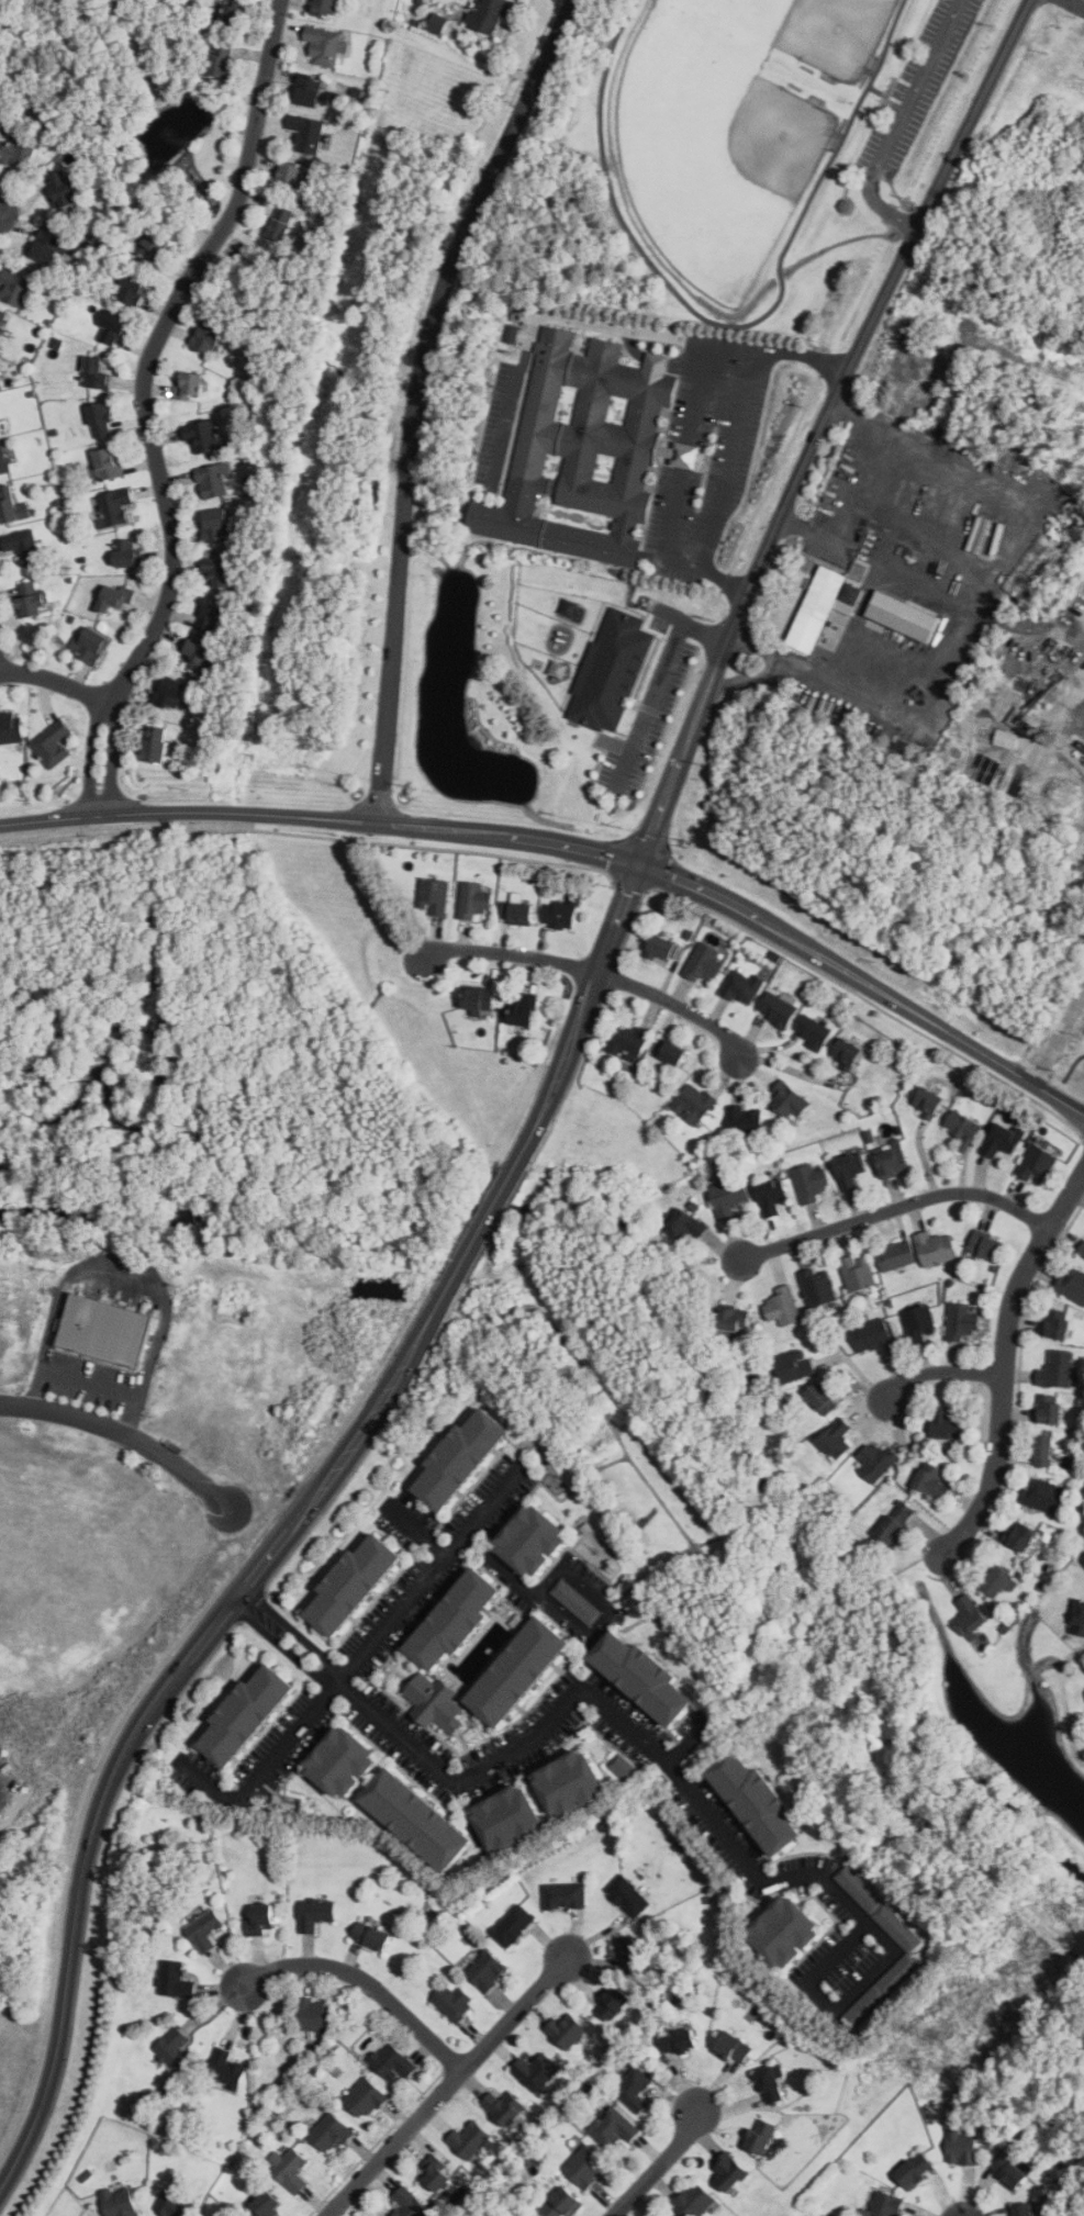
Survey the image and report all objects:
road: (1077, 3)
building: (325, 8)
building: (235, 12)
building: (490, 15)
building: (433, 23)
park: (797, 34)
building: (326, 45)
building: (221, 59)
road: (916, 88)
parking lot: (918, 89)
building: (309, 90)
road: (876, 90)
road: (891, 92)
road: (886, 94)
building: (306, 131)
road: (518, 146)
park: (718, 148)
building: (19, 154)
park: (734, 159)
building: (290, 176)
building: (64, 189)
road: (883, 211)
building: (281, 223)
building: (47, 245)
building: (154, 248)
building: (15, 287)
building: (132, 288)
road: (447, 289)
road: (536, 315)
building: (3, 320)
road: (729, 325)
building: (113, 327)
building: (513, 333)
building: (208, 336)
road: (156, 345)
road: (729, 345)
building: (0, 357)
building: (97, 373)
building: (190, 385)
road: (416, 395)
building: (101, 419)
building: (1, 426)
building: (203, 436)
building: (586, 450)
road: (685, 455)
road: (729, 459)
building: (3, 461)
road: (860, 462)
building: (110, 463)
road: (800, 479)
building: (214, 481)
building: (9, 505)
building: (113, 507)
building: (216, 525)
building: (22, 546)
building: (128, 552)
road: (670, 552)
building: (220, 572)
building: (856, 593)
building: (32, 600)
building: (114, 600)
building: (818, 608)
building: (210, 615)
building: (906, 615)
road: (860, 616)
building: (92, 646)
building: (194, 652)
building: (613, 671)
road: (55, 681)
road: (655, 684)
building: (170, 693)
building: (991, 696)
building: (11, 727)
building: (1008, 739)
building: (54, 745)
building: (155, 745)
road: (91, 756)
road: (113, 756)
road: (136, 814)
traffic signals: (639, 866)
road: (704, 892)
building: (434, 895)
building: (473, 899)
building: (517, 911)
building: (562, 913)
building: (662, 947)
road: (510, 955)
building: (704, 963)
building: (742, 986)
building: (479, 998)
road: (677, 1006)
building: (525, 1008)
building: (778, 1008)
building: (813, 1031)
road: (1058, 1039)
building: (629, 1040)
building: (674, 1052)
building: (848, 1052)
road: (560, 1072)
building: (791, 1099)
building: (695, 1103)
building: (931, 1103)
building: (744, 1120)
building: (963, 1129)
building: (1002, 1140)
building: (893, 1159)
building: (1037, 1164)
building: (850, 1169)
building: (811, 1182)
building: (729, 1195)
building: (772, 1195)
road: (899, 1210)
road: (482, 1224)
building: (686, 1224)
building: (985, 1244)
building: (936, 1247)
building: (1082, 1249)
building: (896, 1255)
building: (857, 1272)
building: (1072, 1285)
building: (819, 1286)
building: (783, 1306)
building: (735, 1319)
building: (962, 1320)
building: (919, 1323)
building: (1057, 1323)
building: (107, 1328)
building: (873, 1336)
road: (1008, 1363)
building: (795, 1365)
building: (1058, 1369)
road: (941, 1376)
road: (85, 1384)
building: (823, 1398)
building: (1049, 1409)
building: (946, 1423)
road: (126, 1434)
building: (837, 1437)
building: (1043, 1450)
building: (462, 1457)
building: (878, 1460)
building: (932, 1480)
building: (1042, 1495)
building: (896, 1523)
road: (420, 1532)
building: (1022, 1535)
building: (533, 1540)
road: (501, 1568)
building: (354, 1582)
building: (998, 1582)
building: (578, 1601)
road: (610, 1608)
building: (971, 1615)
building: (456, 1619)
building: (1080, 1619)
road: (358, 1663)
building: (519, 1670)
building: (644, 1676)
building: (1083, 1701)
building: (435, 1702)
road: (159, 1709)
building: (247, 1714)
road: (646, 1742)
building: (343, 1761)
building: (624, 1768)
building: (572, 1783)
building: (758, 1802)
building: (509, 1818)
building: (417, 1820)
building: (566, 1895)
building: (628, 1895)
building: (316, 1913)
building: (261, 1920)
building: (513, 1925)
building: (204, 1929)
building: (786, 1932)
building: (371, 1936)
building: (909, 1946)
building: (632, 1955)
building: (487, 1971)
building: (175, 1980)
road: (369, 1986)
building: (455, 2002)
building: (613, 2002)
building: (315, 2015)
building: (567, 2030)
power tower: (956, 2033)
building: (681, 2041)
building: (734, 2047)
building: (174, 2049)
building: (393, 2061)
building: (225, 2068)
building: (536, 2070)
building: (772, 2084)
road: (451, 2086)
building: (635, 2088)
building: (366, 2097)
building: (505, 2106)
building: (614, 2127)
building: (331, 2133)
building: (760, 2136)
building: (470, 2138)
building: (962, 2147)
road: (658, 2163)
building: (586, 2165)
building: (291, 2170)
building: (917, 2170)
building: (1009, 2170)
building: (730, 2171)
building: (437, 2173)
building: (694, 2200)
building: (120, 2202)
building: (410, 2203)
building: (562, 2203)
building: (175, 2205)
building: (882, 2205)
building: (266, 2206)
building: (1024, 2209)
building: (528, 2215)
building: (534, 2215)
building: (666, 2215)
building: (670, 2215)

